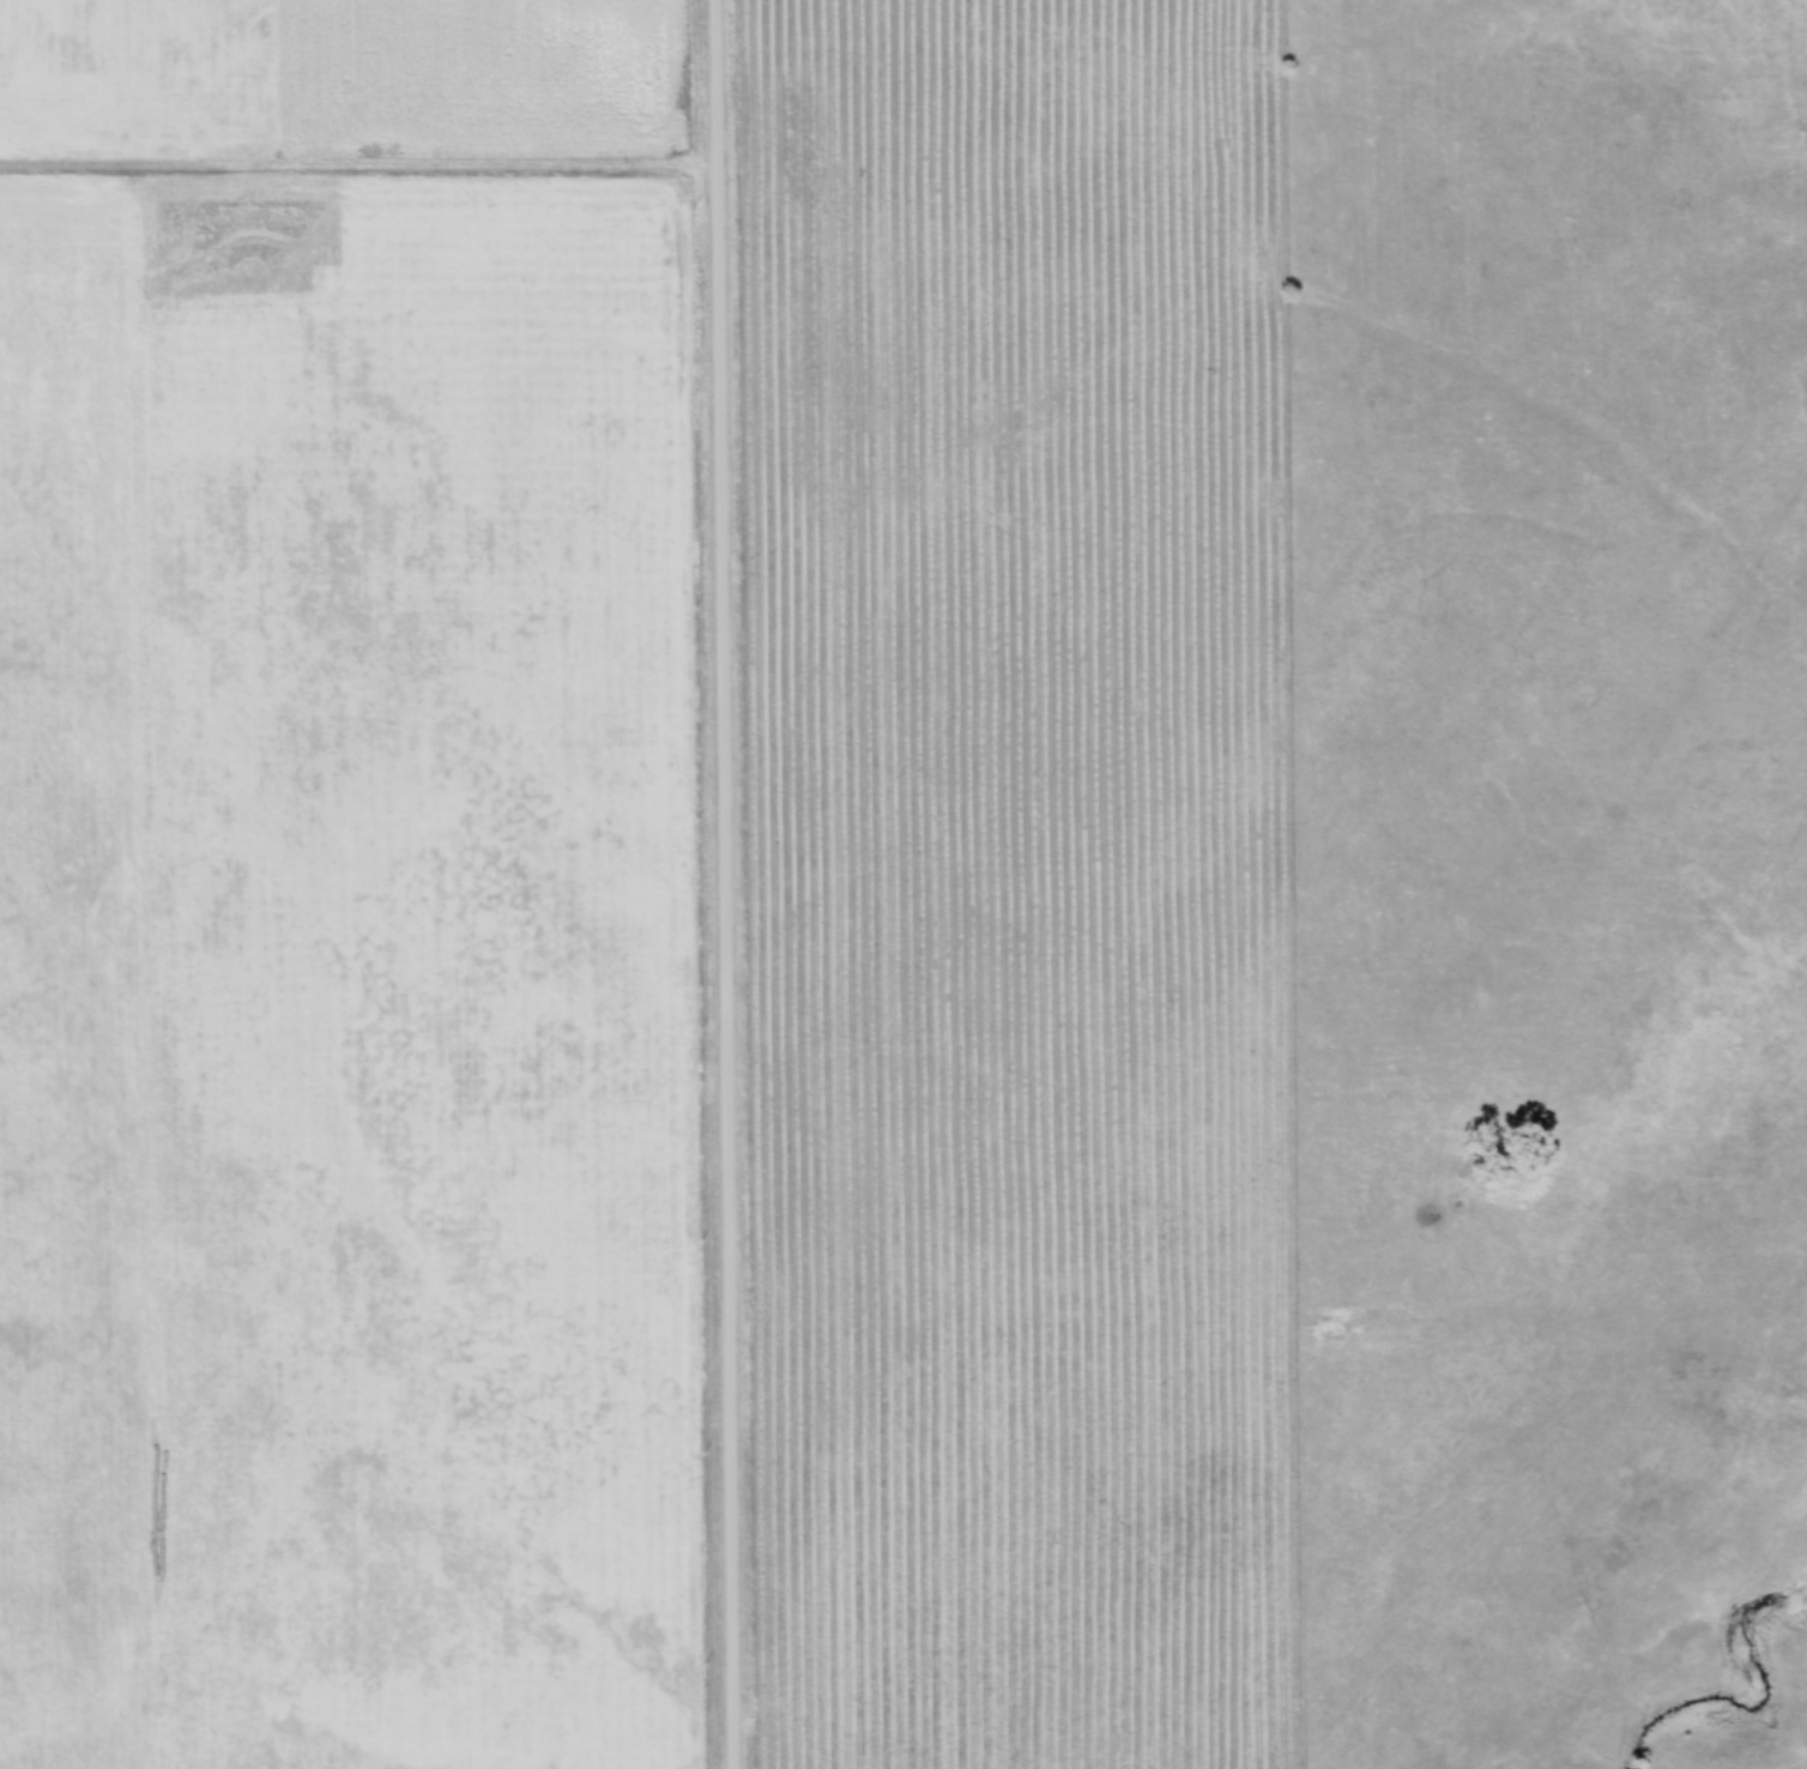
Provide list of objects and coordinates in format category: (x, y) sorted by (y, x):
road: (721, 883)

